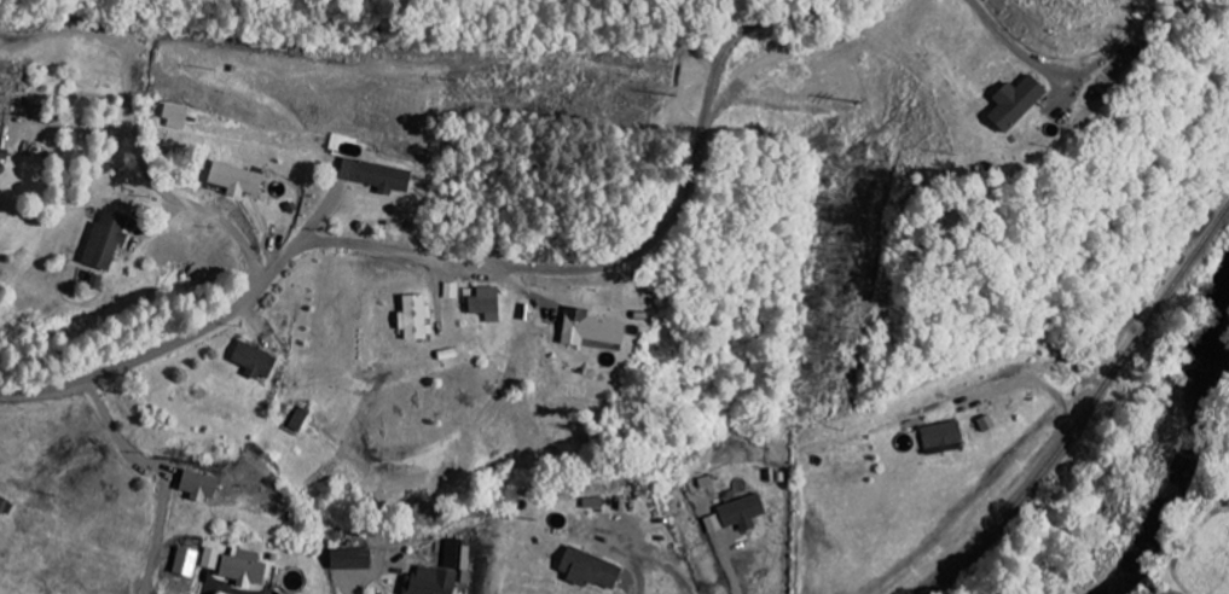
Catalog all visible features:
building: (1020, 101)
building: (179, 116)
building: (5, 146)
road: (157, 174)
building: (381, 175)
building: (239, 179)
building: (109, 239)
building: (99, 281)
building: (452, 290)
road: (237, 303)
building: (489, 303)
building: (418, 318)
building: (593, 328)
building: (257, 361)
railway: (1090, 408)
river: (1173, 467)
building: (202, 484)
building: (740, 514)
building: (458, 553)
building: (211, 558)
building: (354, 559)
building: (187, 561)
building: (245, 567)
building: (593, 570)
building: (433, 581)
building: (284, 593)

